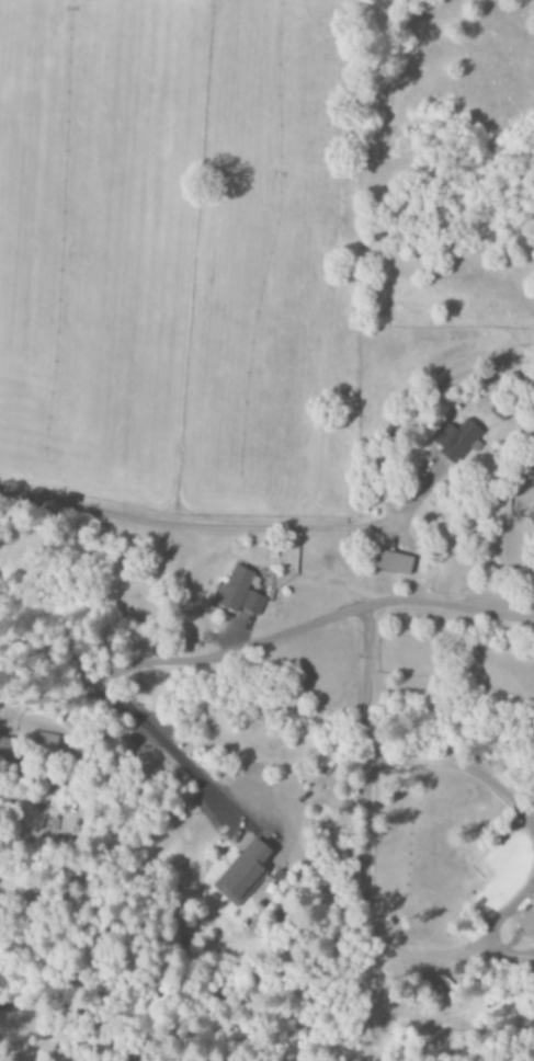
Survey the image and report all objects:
building: (456, 441)
road: (213, 528)
building: (393, 563)
building: (239, 594)
road: (268, 636)
road: (367, 684)
building: (45, 746)
building: (7, 754)
road: (171, 755)
road: (462, 769)
building: (241, 875)
road: (382, 945)

